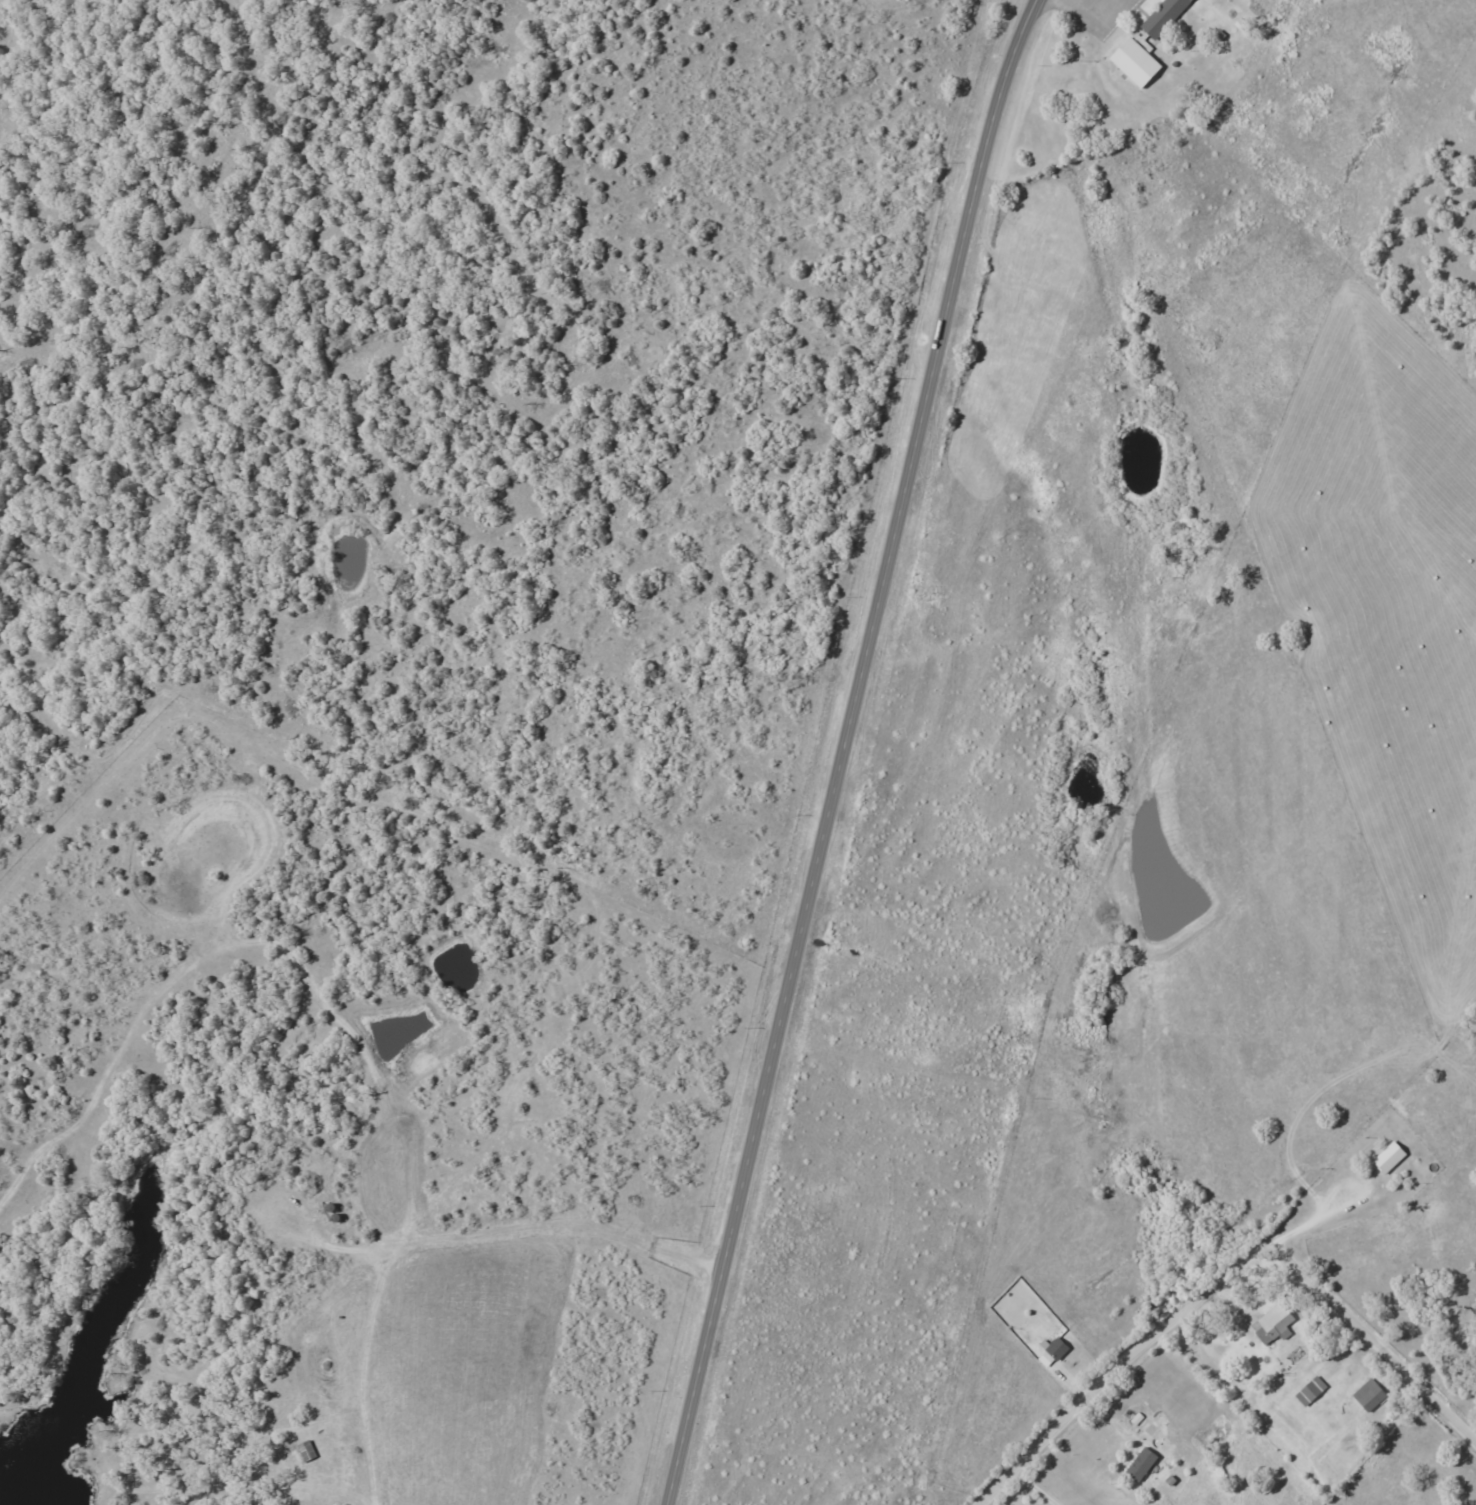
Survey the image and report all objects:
road: (2, 1)
building: (1164, 17)
building: (1136, 62)
road: (845, 750)
building: (1389, 1158)
road: (1313, 1221)
road: (1217, 1273)
building: (1275, 1325)
building: (1057, 1349)
building: (1369, 1396)
building: (1141, 1465)

